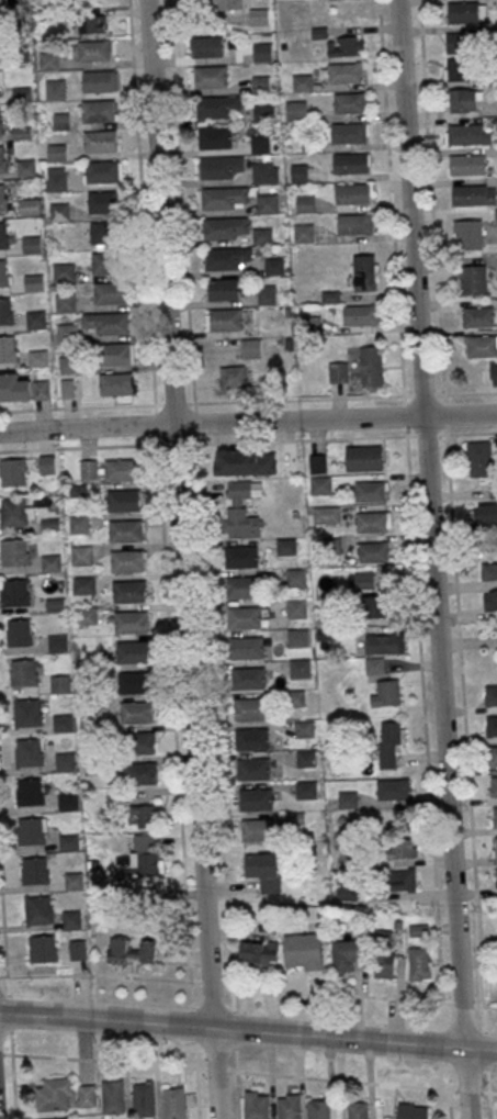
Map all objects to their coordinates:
building: (229, 4)
building: (465, 12)
building: (91, 23)
building: (459, 42)
building: (206, 45)
building: (343, 46)
building: (93, 49)
building: (262, 52)
building: (47, 60)
building: (458, 69)
building: (343, 72)
building: (211, 76)
building: (98, 80)
building: (302, 81)
building: (0, 82)
building: (261, 83)
building: (54, 89)
building: (463, 100)
building: (349, 102)
building: (213, 107)
building: (98, 110)
building: (296, 110)
building: (263, 113)
building: (60, 121)
building: (0, 122)
building: (348, 132)
building: (466, 134)
building: (215, 137)
building: (100, 141)
building: (260, 144)
building: (56, 152)
building: (2, 159)
building: (350, 163)
building: (465, 165)
building: (25, 167)
building: (221, 167)
building: (102, 170)
building: (264, 172)
building: (300, 172)
building: (56, 180)
building: (351, 193)
building: (468, 194)
building: (2, 197)
building: (223, 197)
building: (104, 202)
road: (142, 202)
building: (267, 203)
building: (27, 206)
building: (58, 212)
building: (496, 216)
building: (353, 223)
building: (224, 227)
building: (105, 232)
building: (303, 233)
building: (467, 234)
building: (3, 235)
building: (262, 235)
building: (31, 244)
building: (225, 257)
building: (108, 261)
building: (274, 266)
building: (63, 272)
building: (365, 272)
building: (3, 273)
building: (473, 280)
building: (34, 282)
building: (224, 289)
building: (111, 292)
building: (267, 294)
building: (64, 302)
building: (5, 311)
building: (361, 314)
building: (477, 316)
building: (225, 318)
building: (36, 320)
building: (112, 322)
building: (67, 333)
building: (479, 345)
building: (250, 347)
building: (8, 349)
building: (113, 353)
building: (37, 358)
building: (68, 363)
building: (370, 366)
building: (338, 372)
building: (493, 372)
building: (233, 376)
building: (115, 383)
building: (14, 388)
road: (248, 400)
road: (248, 421)
road: (248, 439)
building: (363, 457)
building: (479, 458)
building: (245, 461)
building: (46, 463)
building: (121, 469)
building: (12, 471)
building: (319, 484)
road: (199, 491)
building: (370, 491)
building: (123, 500)
road: (409, 501)
road: (451, 502)
building: (241, 508)
building: (12, 512)
building: (484, 513)
building: (326, 514)
building: (372, 522)
building: (78, 524)
building: (124, 530)
building: (330, 544)
building: (285, 546)
building: (14, 551)
building: (373, 551)
building: (80, 553)
building: (240, 557)
road: (181, 559)
road: (432, 559)
building: (127, 561)
building: (50, 562)
building: (488, 570)
building: (294, 577)
building: (360, 580)
building: (82, 584)
building: (241, 586)
building: (128, 591)
building: (13, 592)
building: (489, 600)
building: (295, 606)
building: (374, 606)
building: (84, 614)
building: (244, 617)
building: (131, 620)
building: (18, 633)
building: (296, 637)
building: (382, 644)
building: (246, 647)
building: (133, 651)
building: (374, 665)
building: (298, 668)
building: (22, 672)
building: (248, 678)
building: (60, 682)
building: (134, 682)
road: (173, 692)
building: (385, 693)
building: (490, 695)
building: (250, 708)
building: (27, 712)
building: (135, 712)
building: (63, 721)
building: (492, 725)
building: (304, 728)
building: (251, 738)
building: (389, 741)
building: (138, 742)
building: (27, 751)
building: (493, 756)
building: (66, 761)
building: (253, 769)
building: (140, 773)
building: (494, 786)
building: (393, 788)
building: (306, 790)
building: (29, 792)
building: (347, 798)
building: (256, 799)
building: (67, 801)
building: (145, 815)
building: (495, 816)
building: (30, 830)
building: (258, 830)
building: (495, 846)
building: (405, 848)
building: (142, 858)
building: (261, 864)
building: (33, 870)
building: (496, 873)
building: (72, 880)
building: (402, 880)
building: (37, 909)
building: (71, 919)
road: (3, 924)
building: (42, 948)
building: (78, 949)
building: (132, 950)
building: (303, 951)
building: (259, 953)
building: (384, 953)
building: (347, 954)
building: (419, 963)
road: (7, 984)
road: (248, 985)
road: (9, 1011)
road: (231, 1029)
road: (481, 1048)
road: (234, 1051)
road: (488, 1061)
road: (248, 1071)
road: (13, 1074)
road: (197, 1093)
building: (55, 1094)
building: (87, 1095)
building: (113, 1097)
building: (144, 1100)
building: (174, 1103)
road: (448, 1103)
building: (256, 1105)
building: (289, 1106)
building: (319, 1108)
building: (358, 1109)
building: (411, 1110)
building: (56, 1118)

